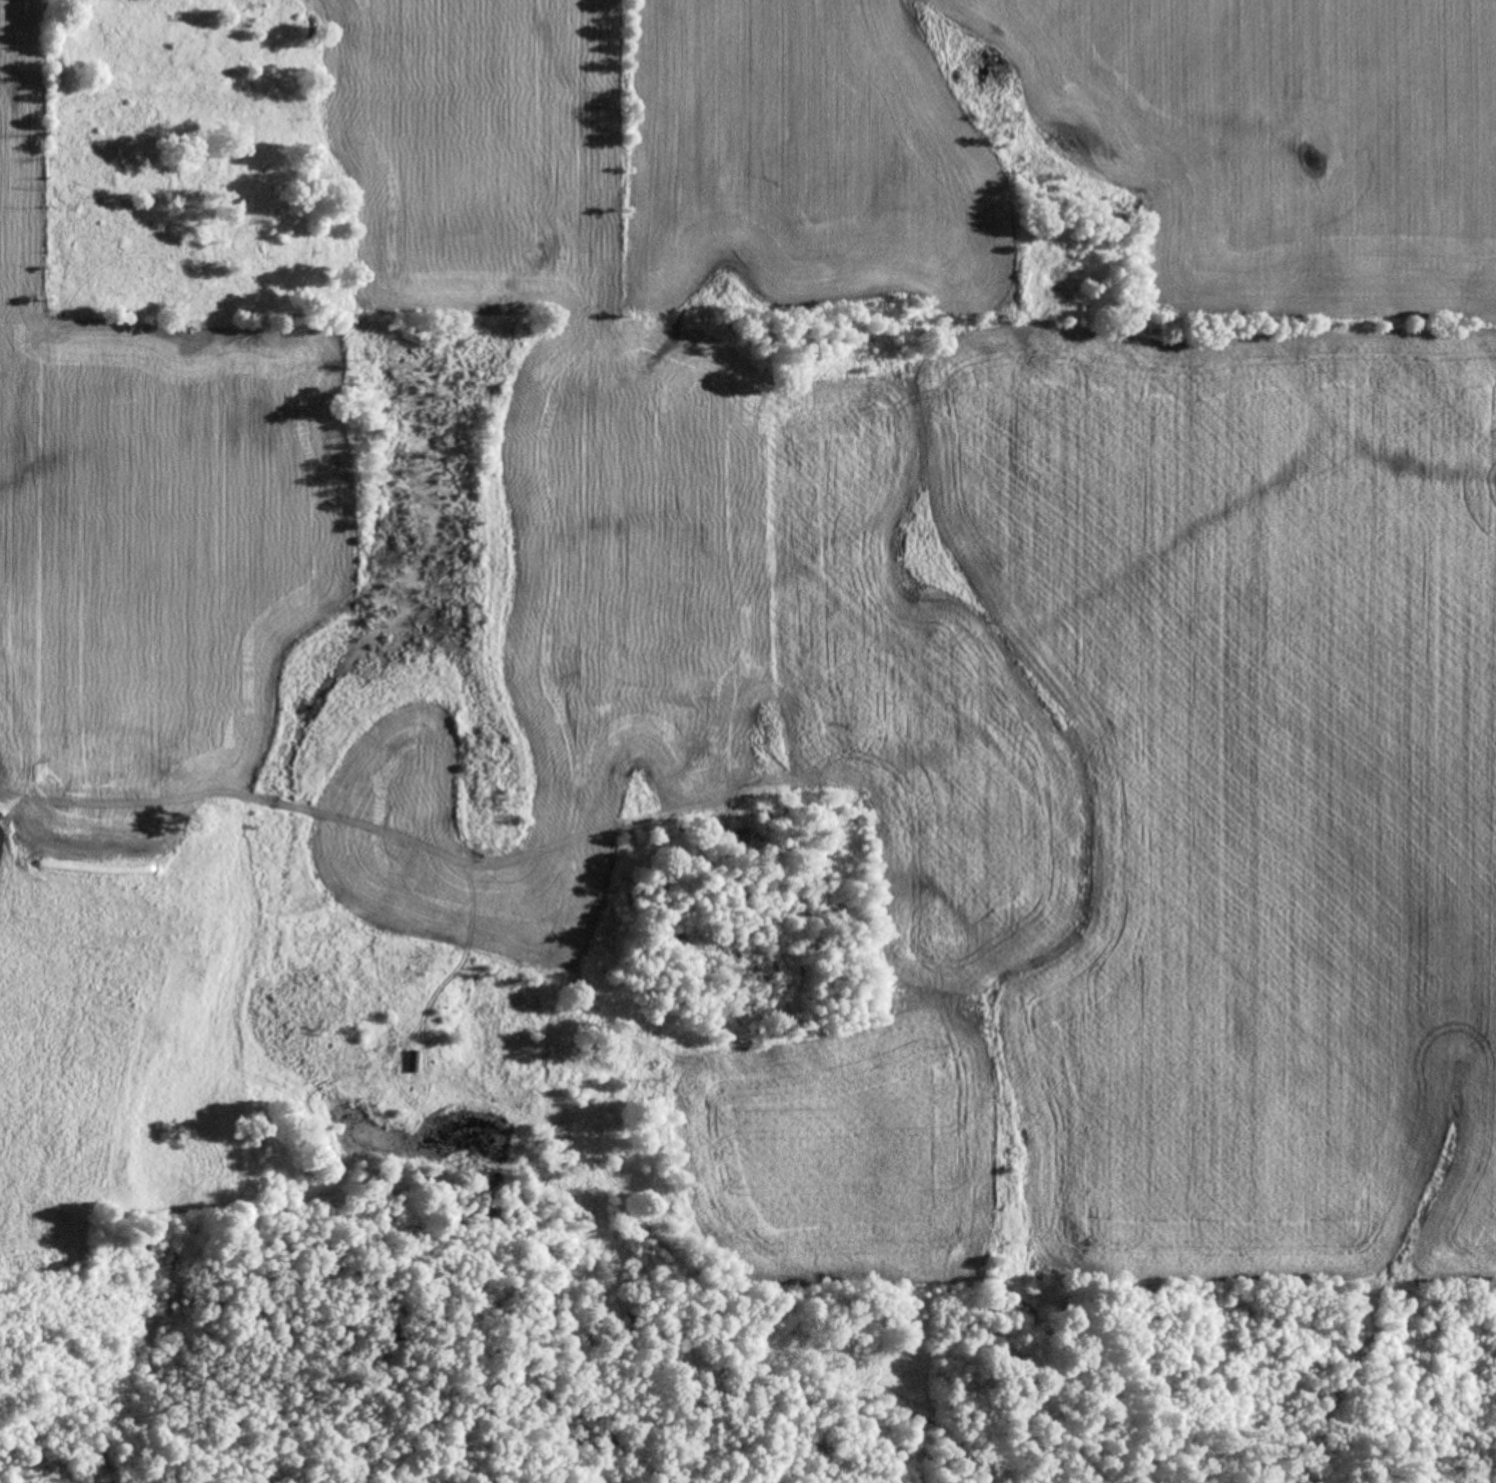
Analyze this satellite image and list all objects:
building: (405, 1064)

